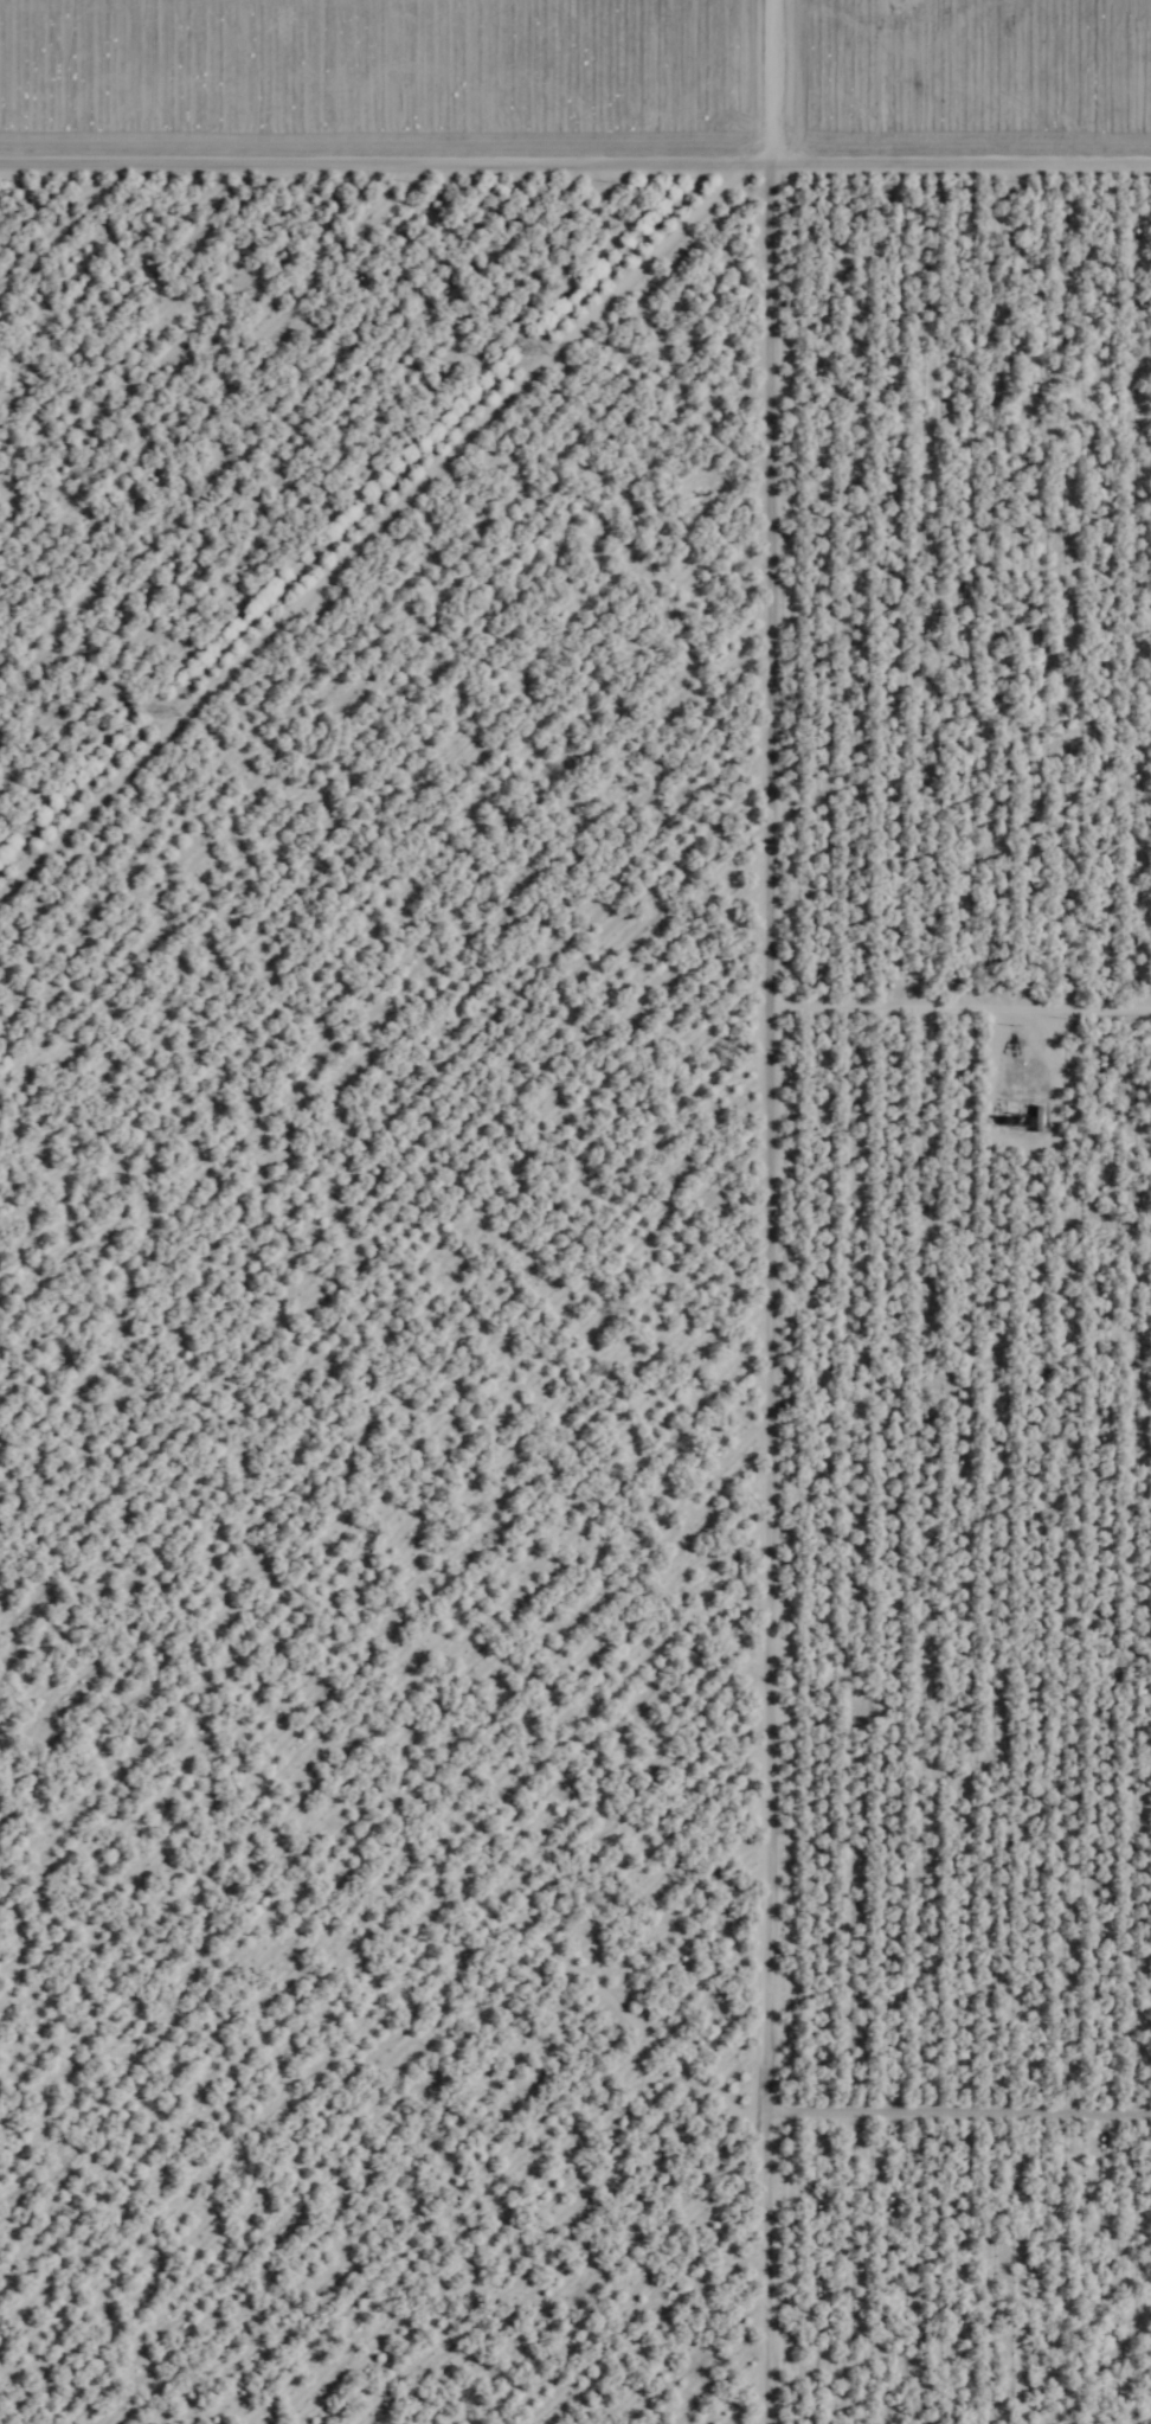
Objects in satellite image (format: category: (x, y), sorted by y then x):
crop: (577, 89)
road: (574, 108)
power tower: (536, 342)
power tower: (162, 707)
road: (960, 2121)

